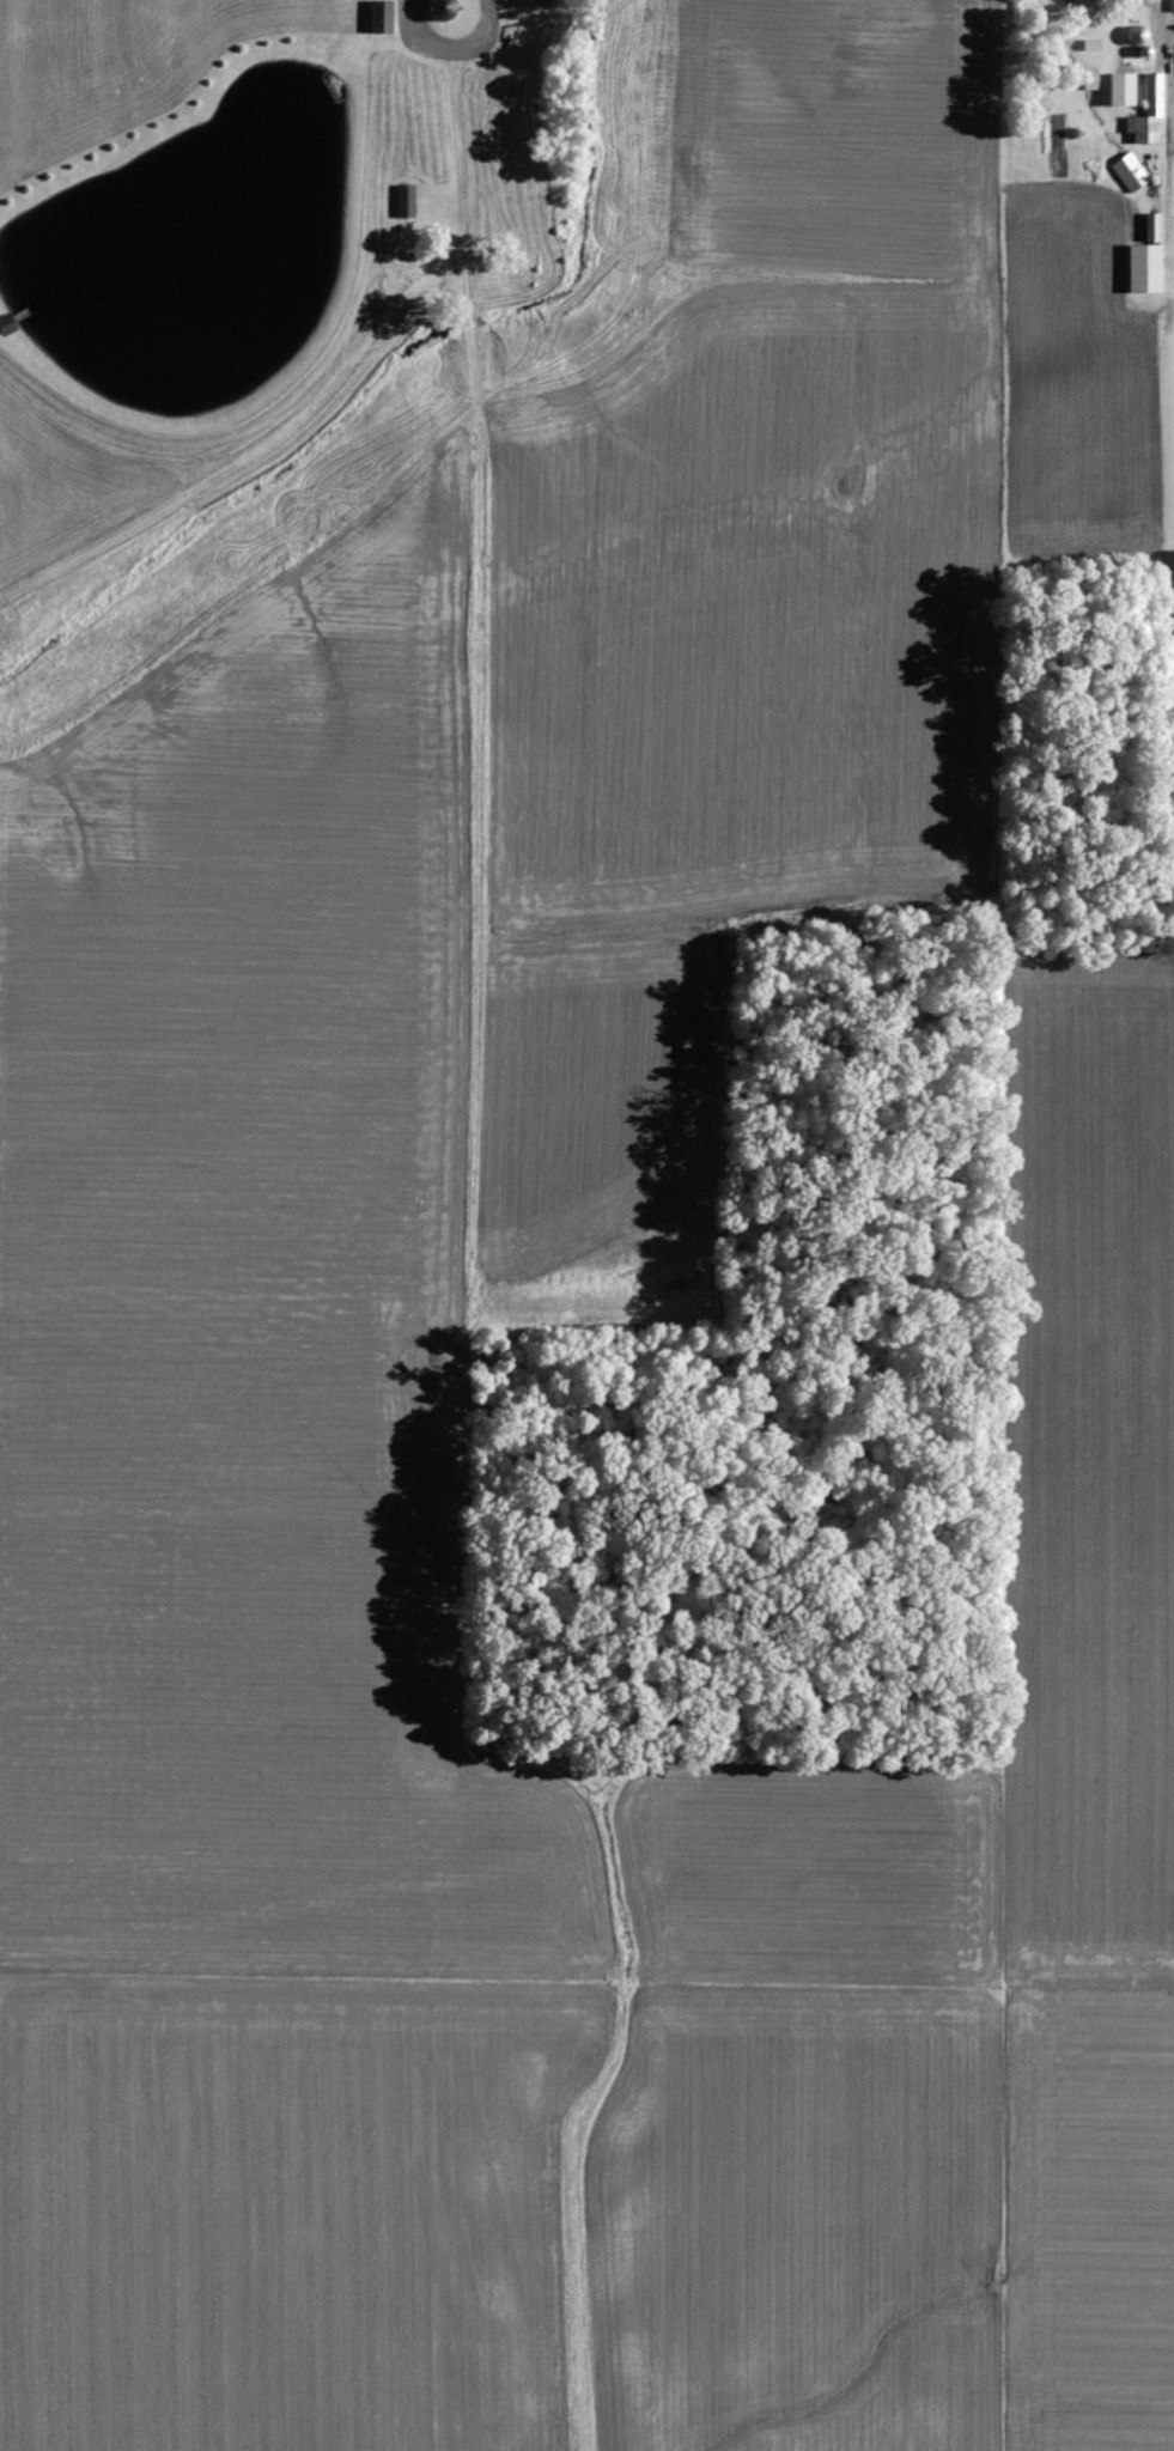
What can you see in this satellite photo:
building: (1169, 0)
building: (439, 10)
silo: (439, 10)
building: (379, 14)
road: (451, 47)
building: (1088, 78)
building: (1118, 90)
building: (1145, 110)
building: (1127, 171)
building: (402, 201)
building: (1148, 229)
road: (442, 406)
crop: (1088, 1468)

